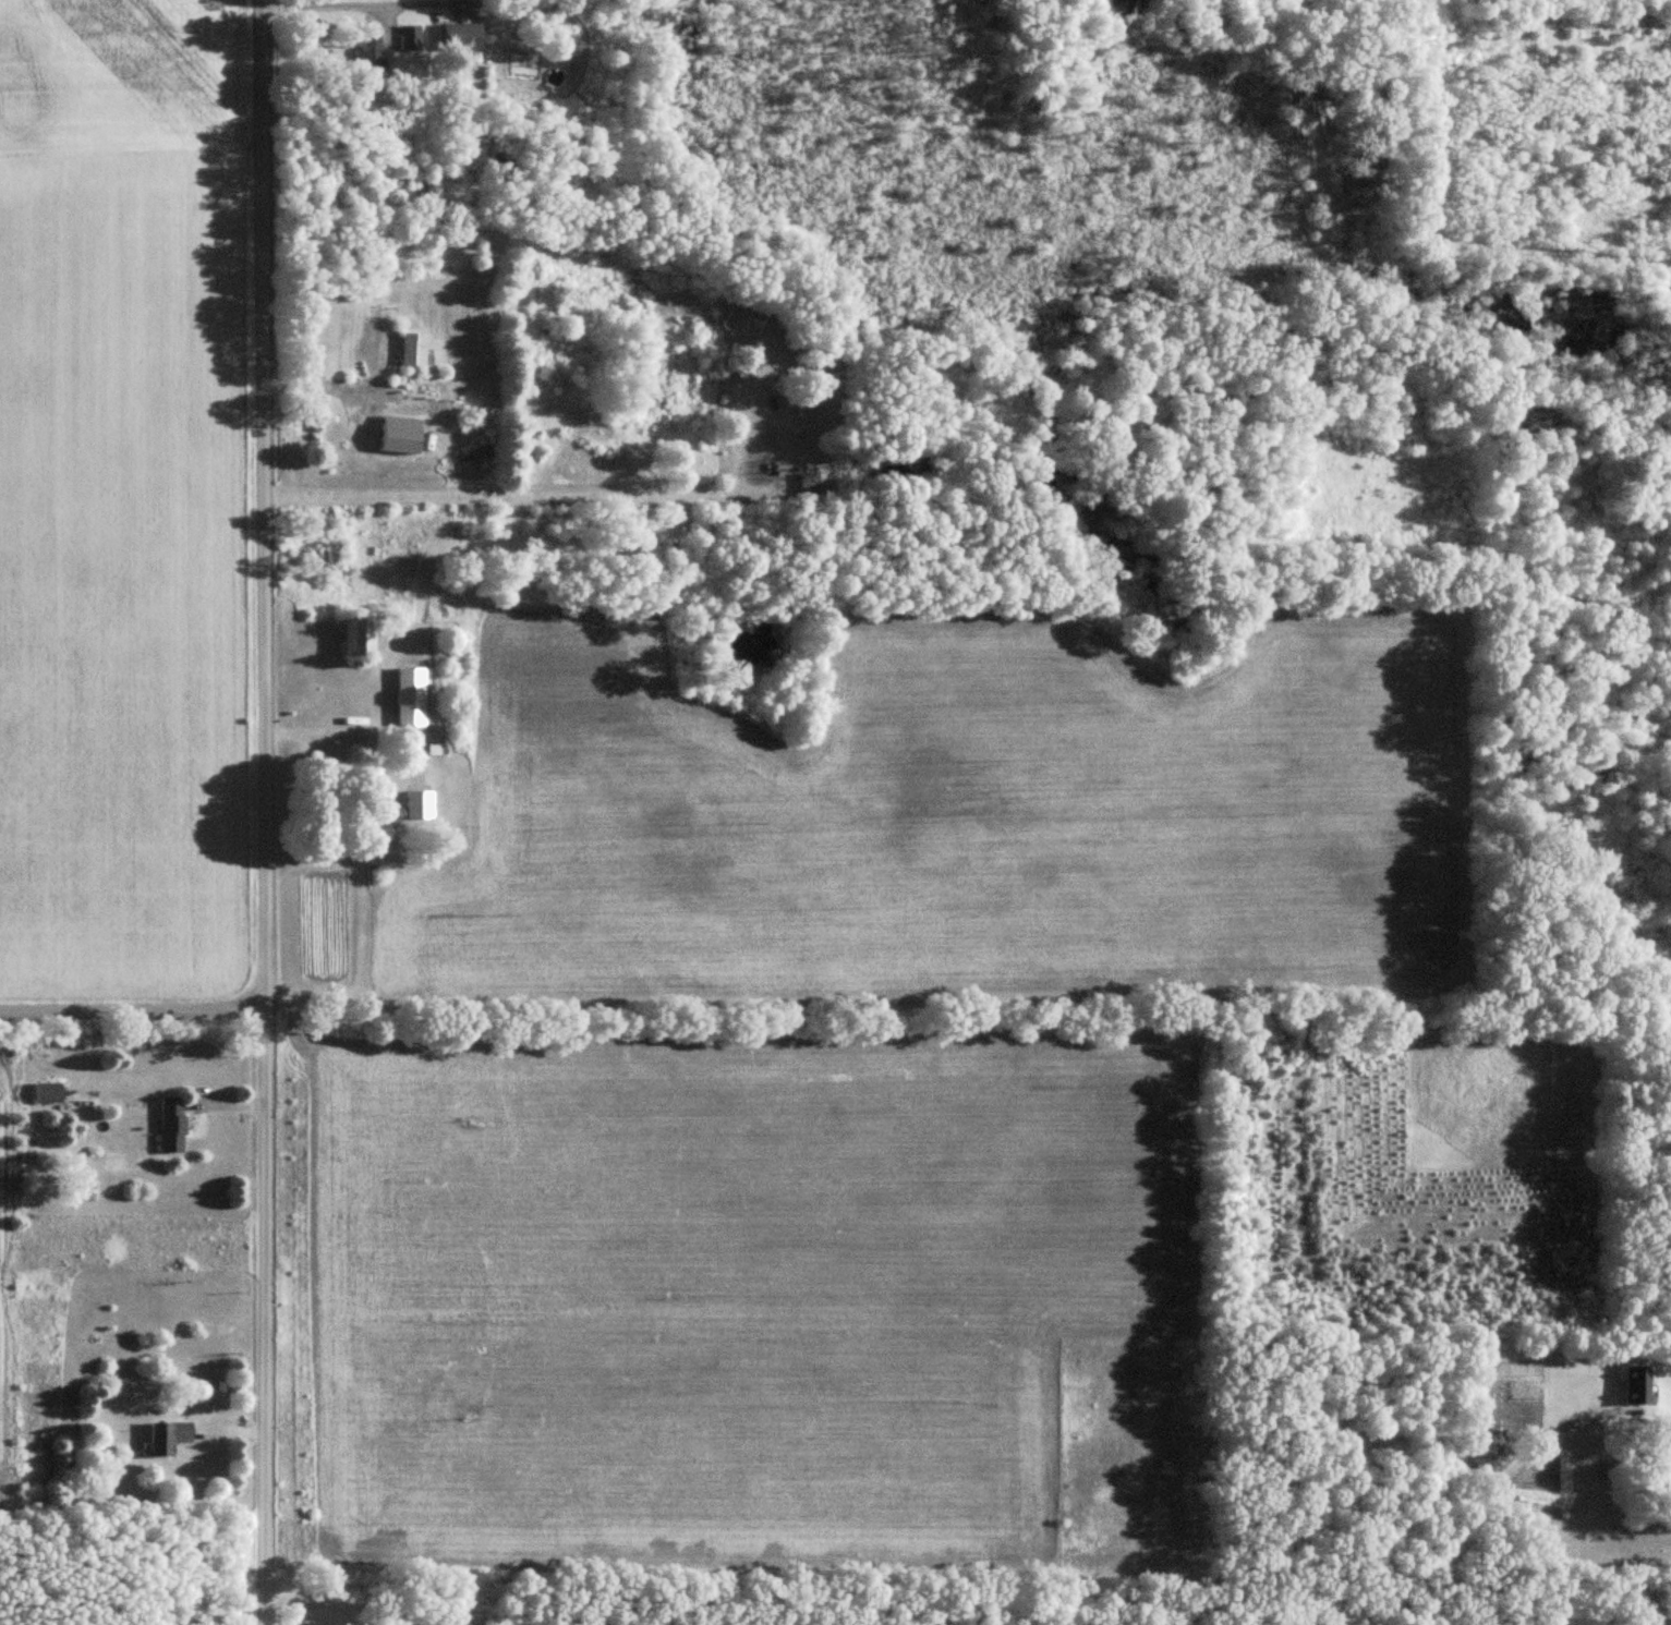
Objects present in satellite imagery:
building: (410, 37)
building: (461, 37)
building: (372, 57)
building: (413, 349)
road: (324, 371)
building: (807, 385)
building: (809, 492)
road: (526, 495)
building: (358, 635)
building: (410, 695)
road: (265, 812)
building: (399, 813)
road: (133, 1012)
building: (48, 1093)
building: (172, 1126)
building: (1637, 1385)
building: (169, 1436)
road: (1484, 1490)
road: (348, 1587)

